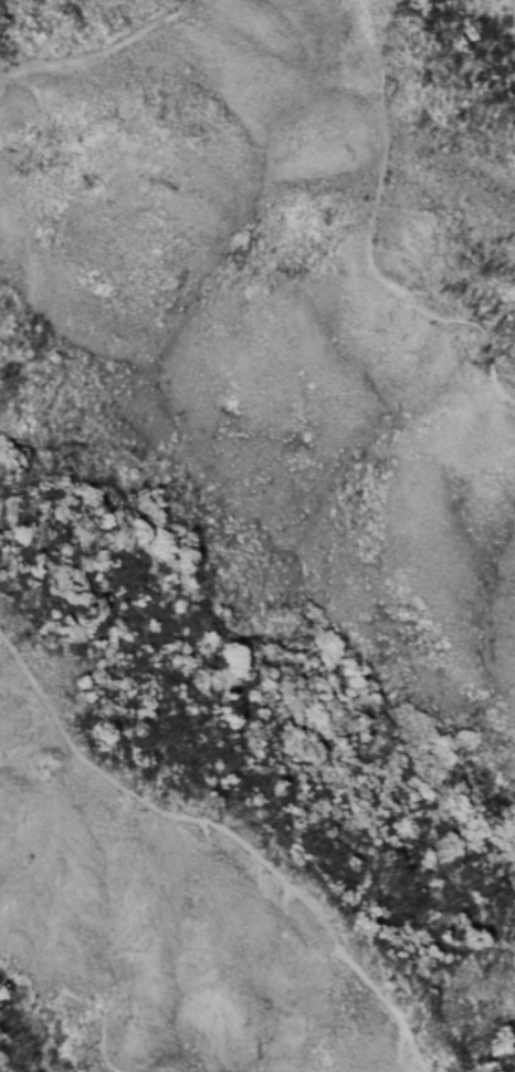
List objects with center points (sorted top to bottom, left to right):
road: (103, 53)
road: (365, 242)
road: (228, 834)
road: (75, 1000)

